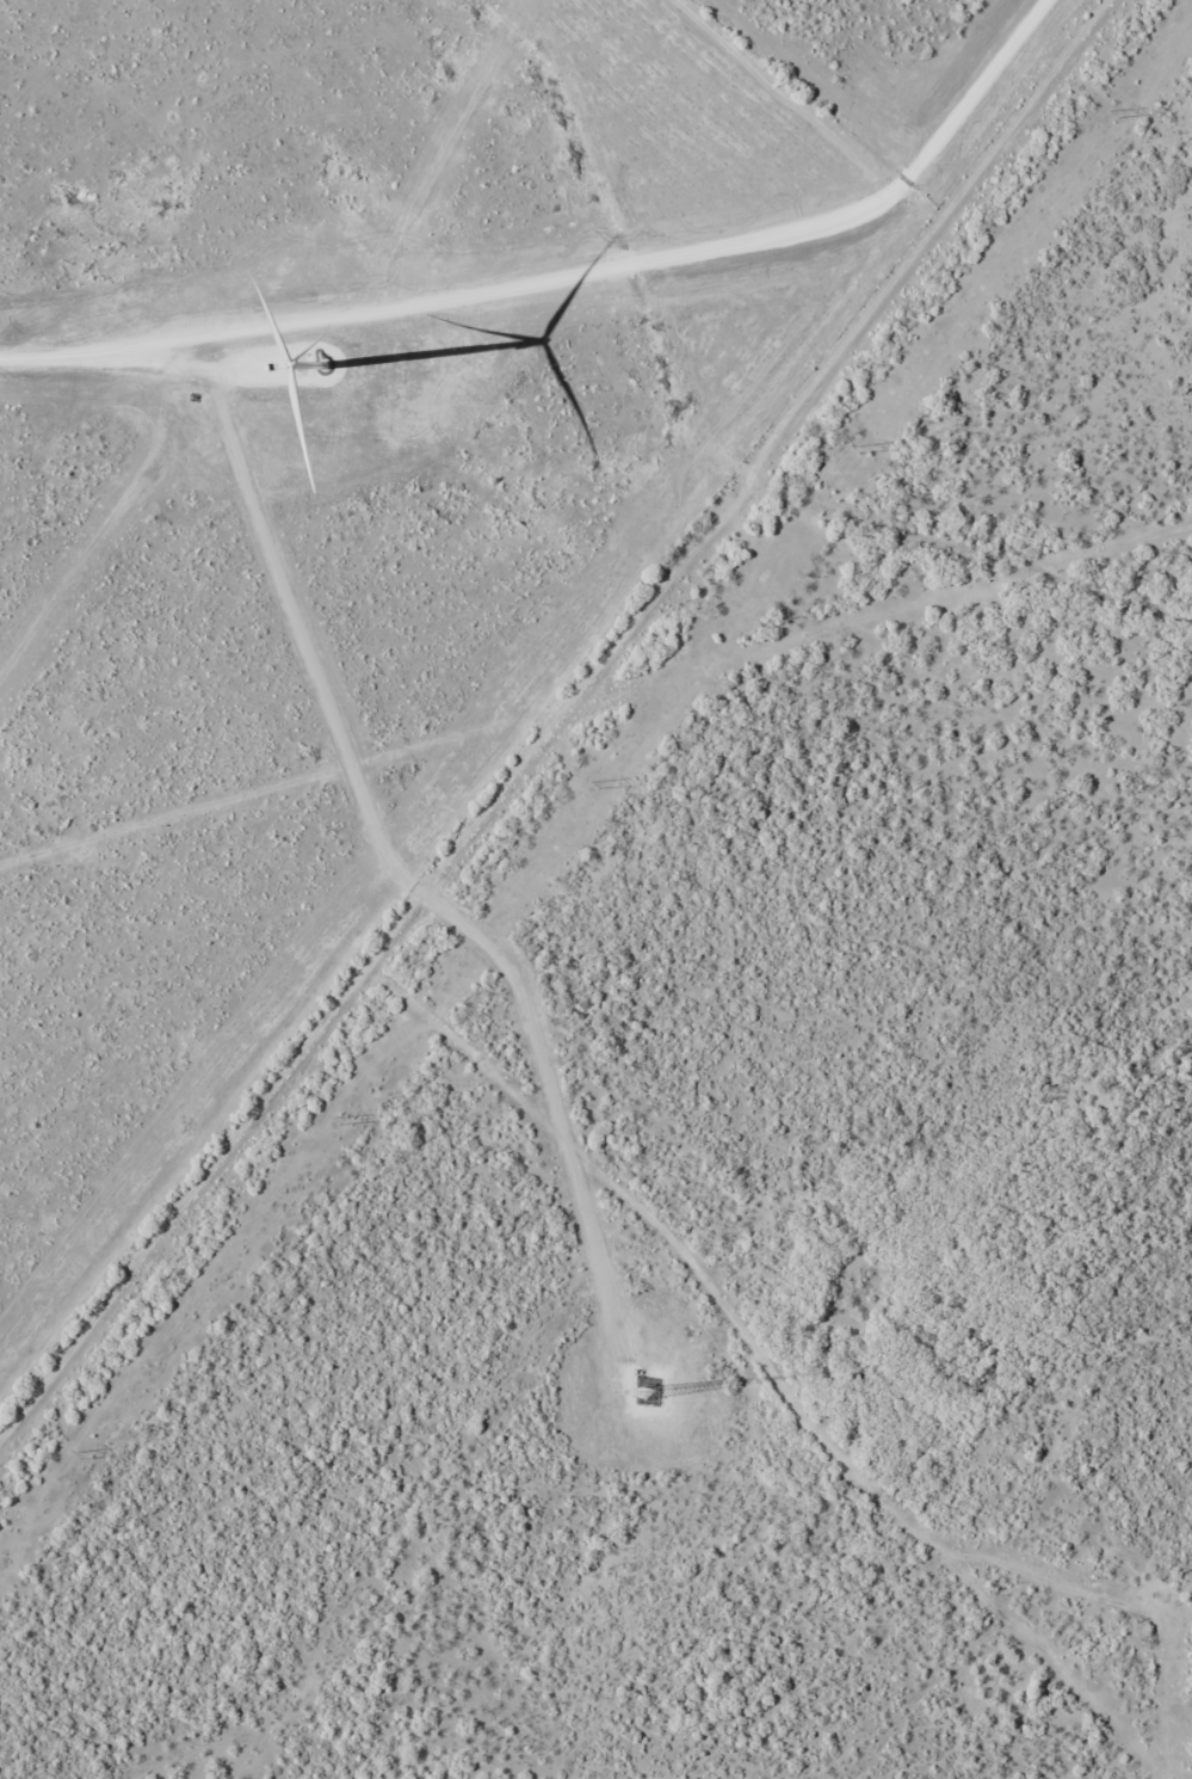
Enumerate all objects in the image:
road: (830, 106)
power tower: (1118, 112)
wind turbine: (326, 375)
power tower: (860, 450)
power tower: (600, 784)
power tower: (341, 1120)
power tower: (85, 1454)

